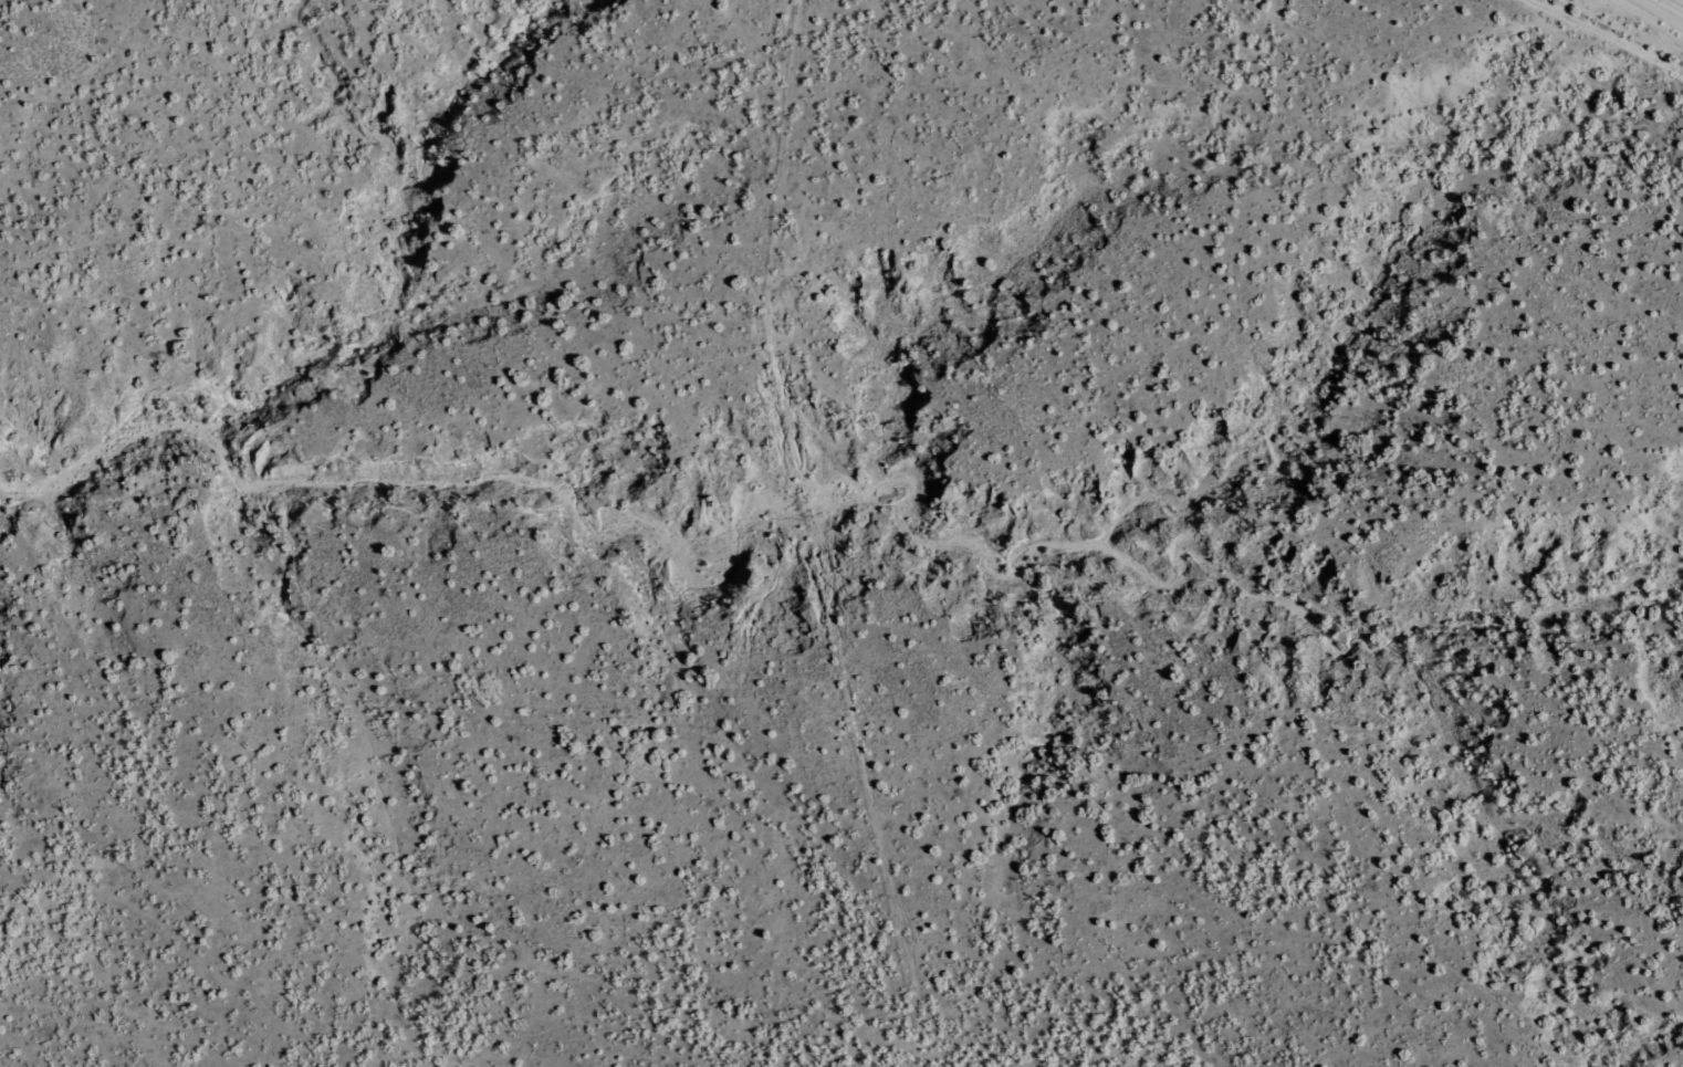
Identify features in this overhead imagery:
road: (1656, 14)

